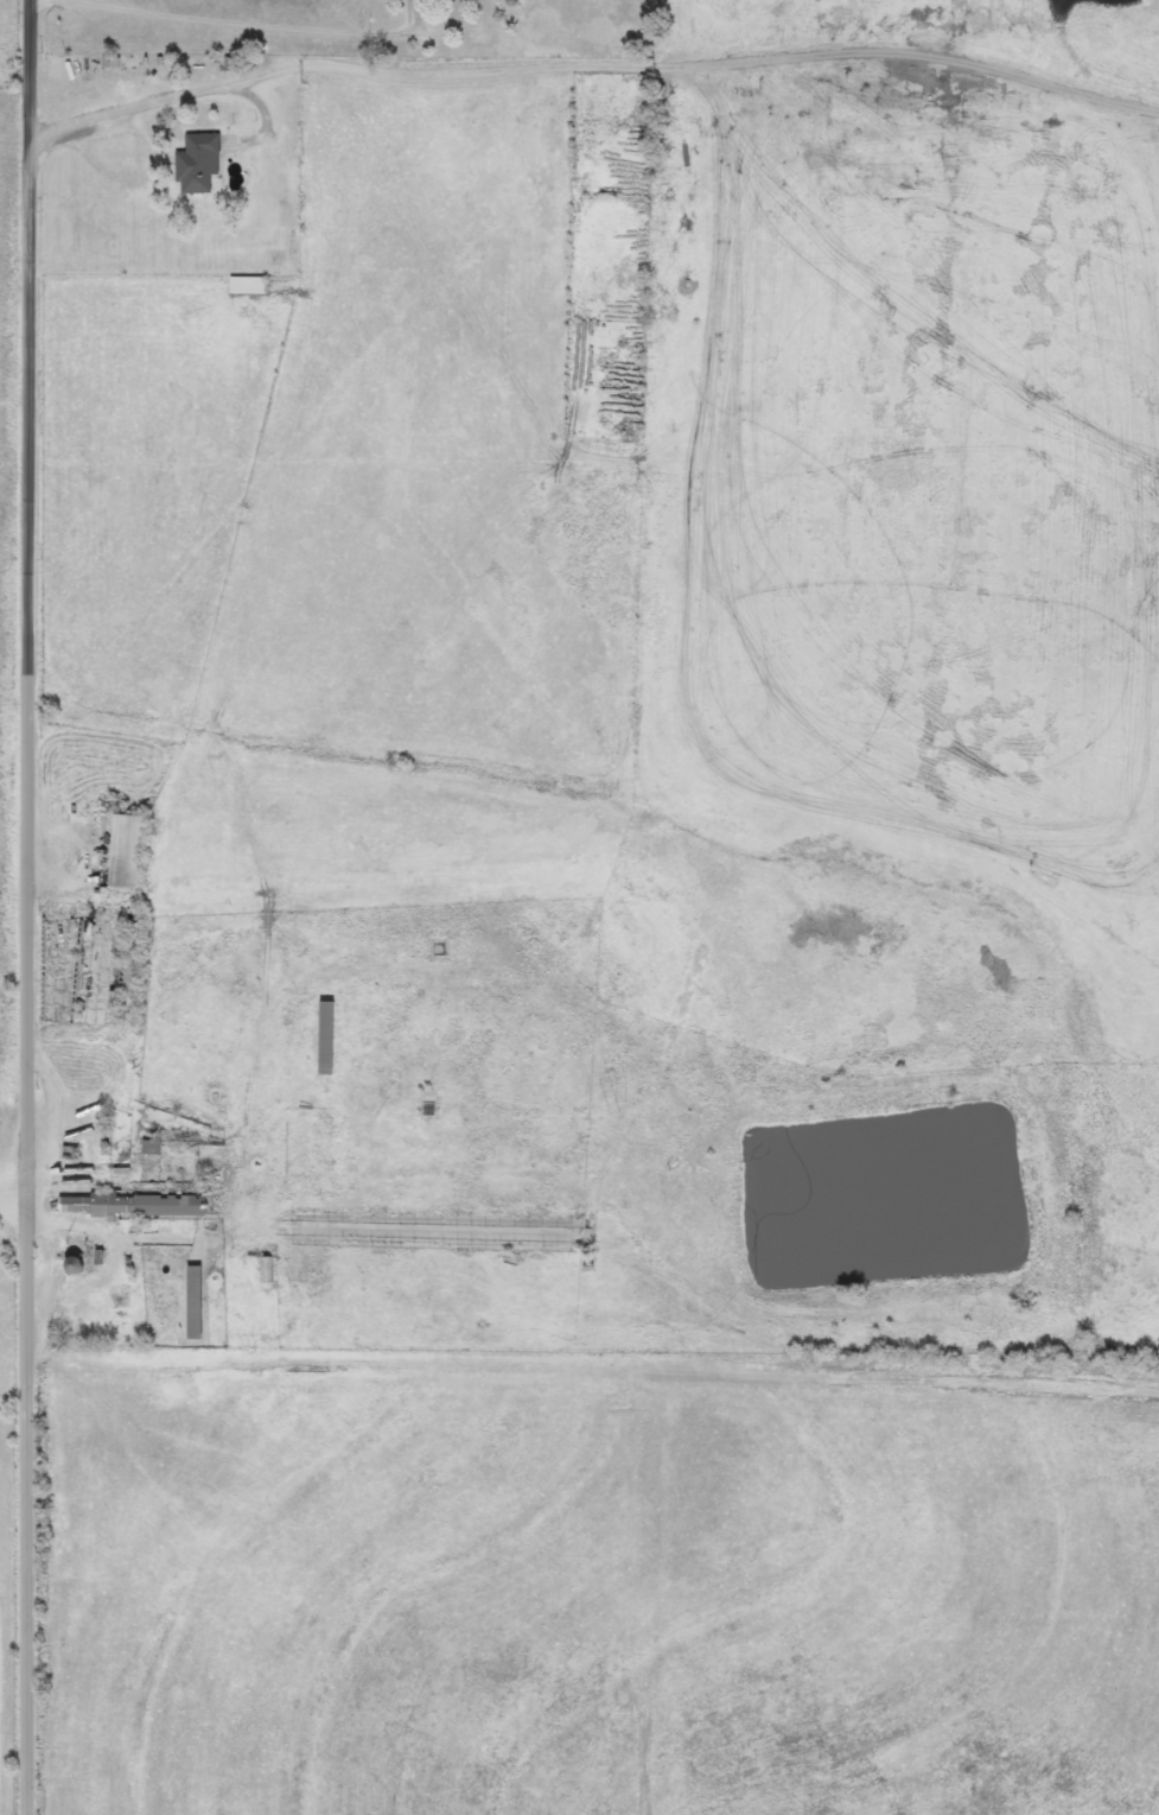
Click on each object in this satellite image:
road: (240, 23)
road: (165, 97)
building: (198, 163)
building: (248, 286)
building: (123, 848)
road: (33, 907)
building: (327, 1048)
building: (325, 1151)
building: (128, 1205)
building: (122, 1296)
building: (195, 1302)

